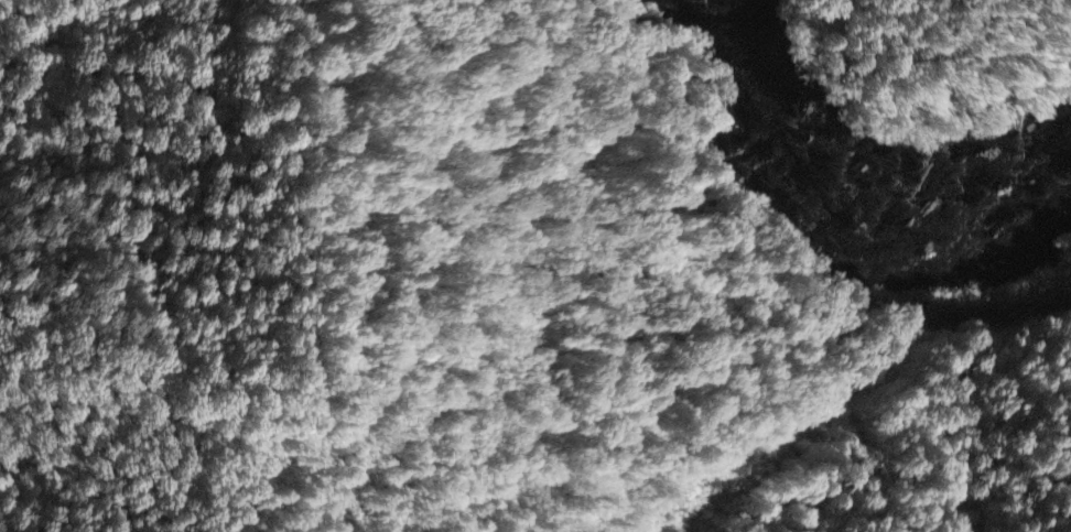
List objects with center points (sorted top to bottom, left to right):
river: (867, 162)
railway: (782, 253)
power tower: (1004, 284)

